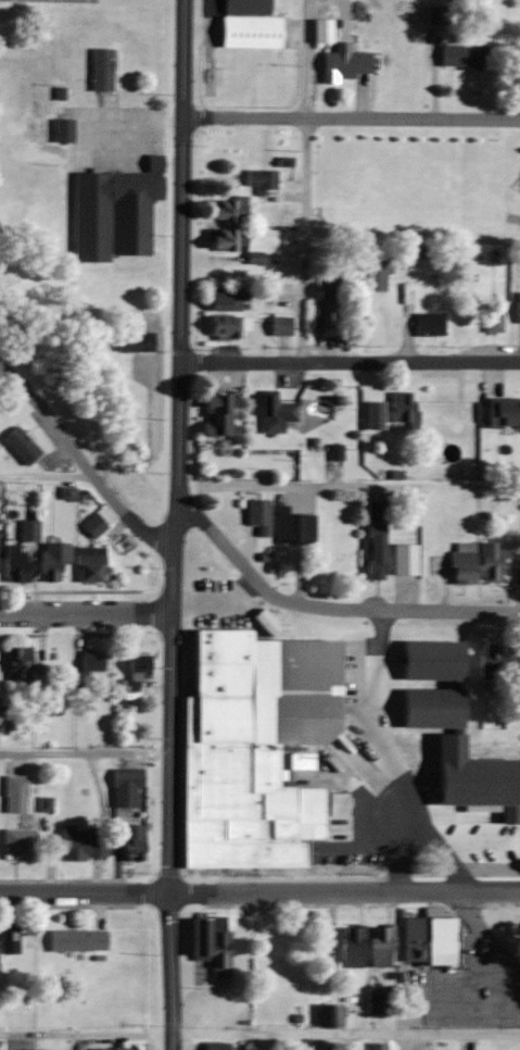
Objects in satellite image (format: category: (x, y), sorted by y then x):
building: (50, 1)
building: (250, 7)
building: (320, 30)
building: (253, 32)
building: (462, 55)
building: (519, 57)
building: (342, 64)
building: (100, 70)
road: (352, 115)
road: (303, 117)
building: (61, 130)
building: (259, 177)
building: (226, 207)
building: (113, 211)
road: (348, 235)
building: (223, 237)
building: (377, 266)
road: (182, 272)
building: (221, 298)
building: (325, 302)
building: (518, 305)
building: (491, 316)
building: (427, 323)
building: (279, 325)
building: (225, 327)
building: (132, 340)
road: (351, 361)
building: (402, 408)
building: (274, 412)
building: (213, 413)
building: (503, 413)
building: (18, 443)
road: (85, 462)
road: (46, 472)
road: (348, 486)
building: (373, 510)
building: (256, 514)
building: (296, 526)
building: (27, 528)
building: (373, 549)
building: (402, 558)
building: (51, 559)
building: (13, 562)
building: (491, 562)
building: (89, 563)
building: (461, 563)
building: (517, 567)
road: (328, 607)
road: (88, 613)
building: (490, 661)
building: (90, 662)
building: (16, 663)
building: (134, 670)
building: (429, 707)
building: (254, 748)
road: (87, 749)
building: (125, 777)
building: (14, 793)
road: (174, 797)
building: (130, 841)
building: (17, 843)
road: (259, 892)
road: (486, 934)
building: (8, 939)
building: (75, 939)
building: (208, 941)
building: (351, 945)
building: (379, 946)
building: (423, 948)
building: (328, 1015)
road: (259, 1032)
building: (215, 1046)
building: (363, 1046)
building: (122, 1048)

